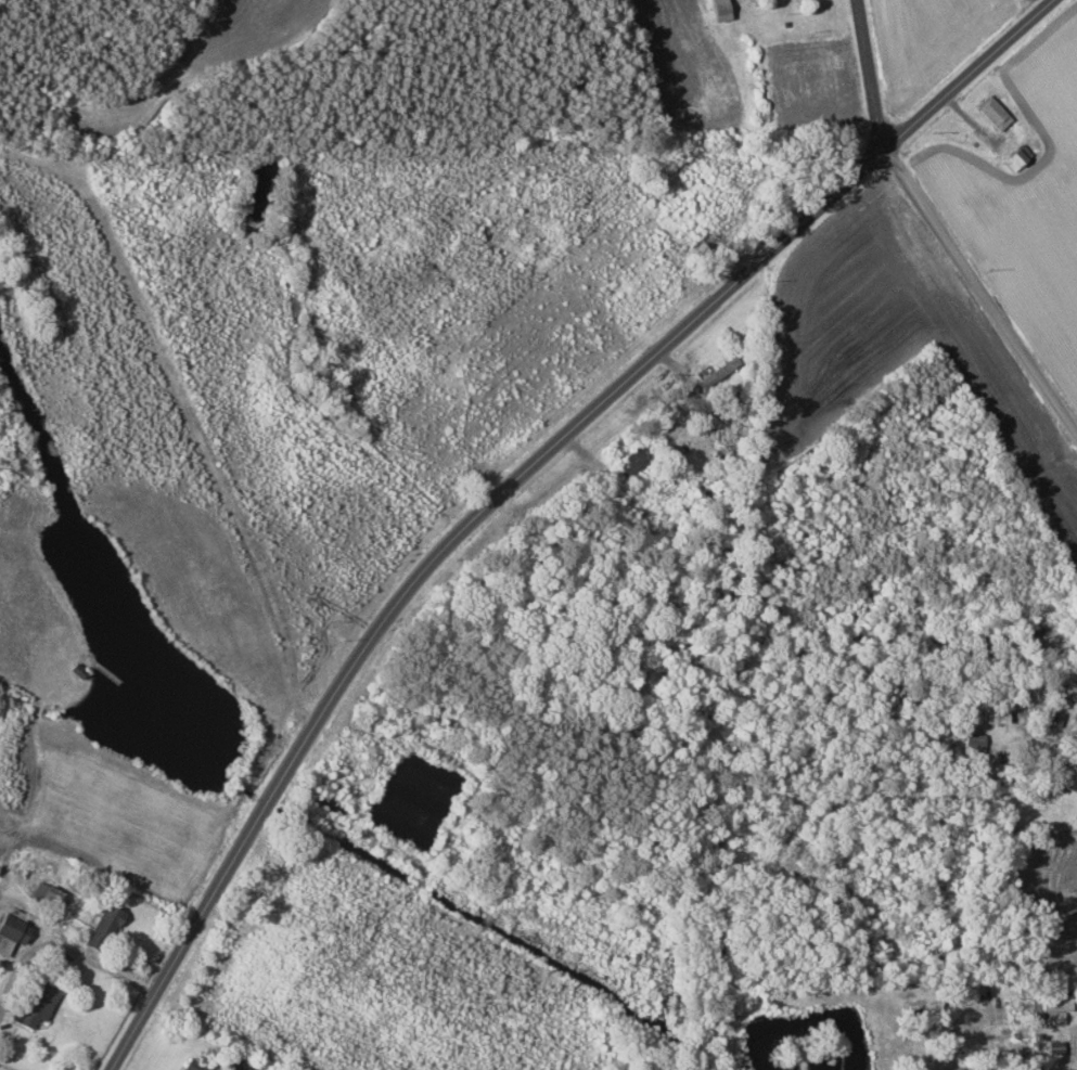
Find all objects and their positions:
building: (719, 10)
road: (877, 74)
building: (991, 112)
building: (1015, 157)
road: (984, 284)
building: (633, 461)
road: (516, 478)
building: (992, 714)
building: (972, 746)
building: (43, 895)
building: (102, 928)
building: (10, 932)
road: (65, 949)
building: (1055, 1000)
building: (35, 1004)
building: (193, 1066)
building: (252, 1069)

